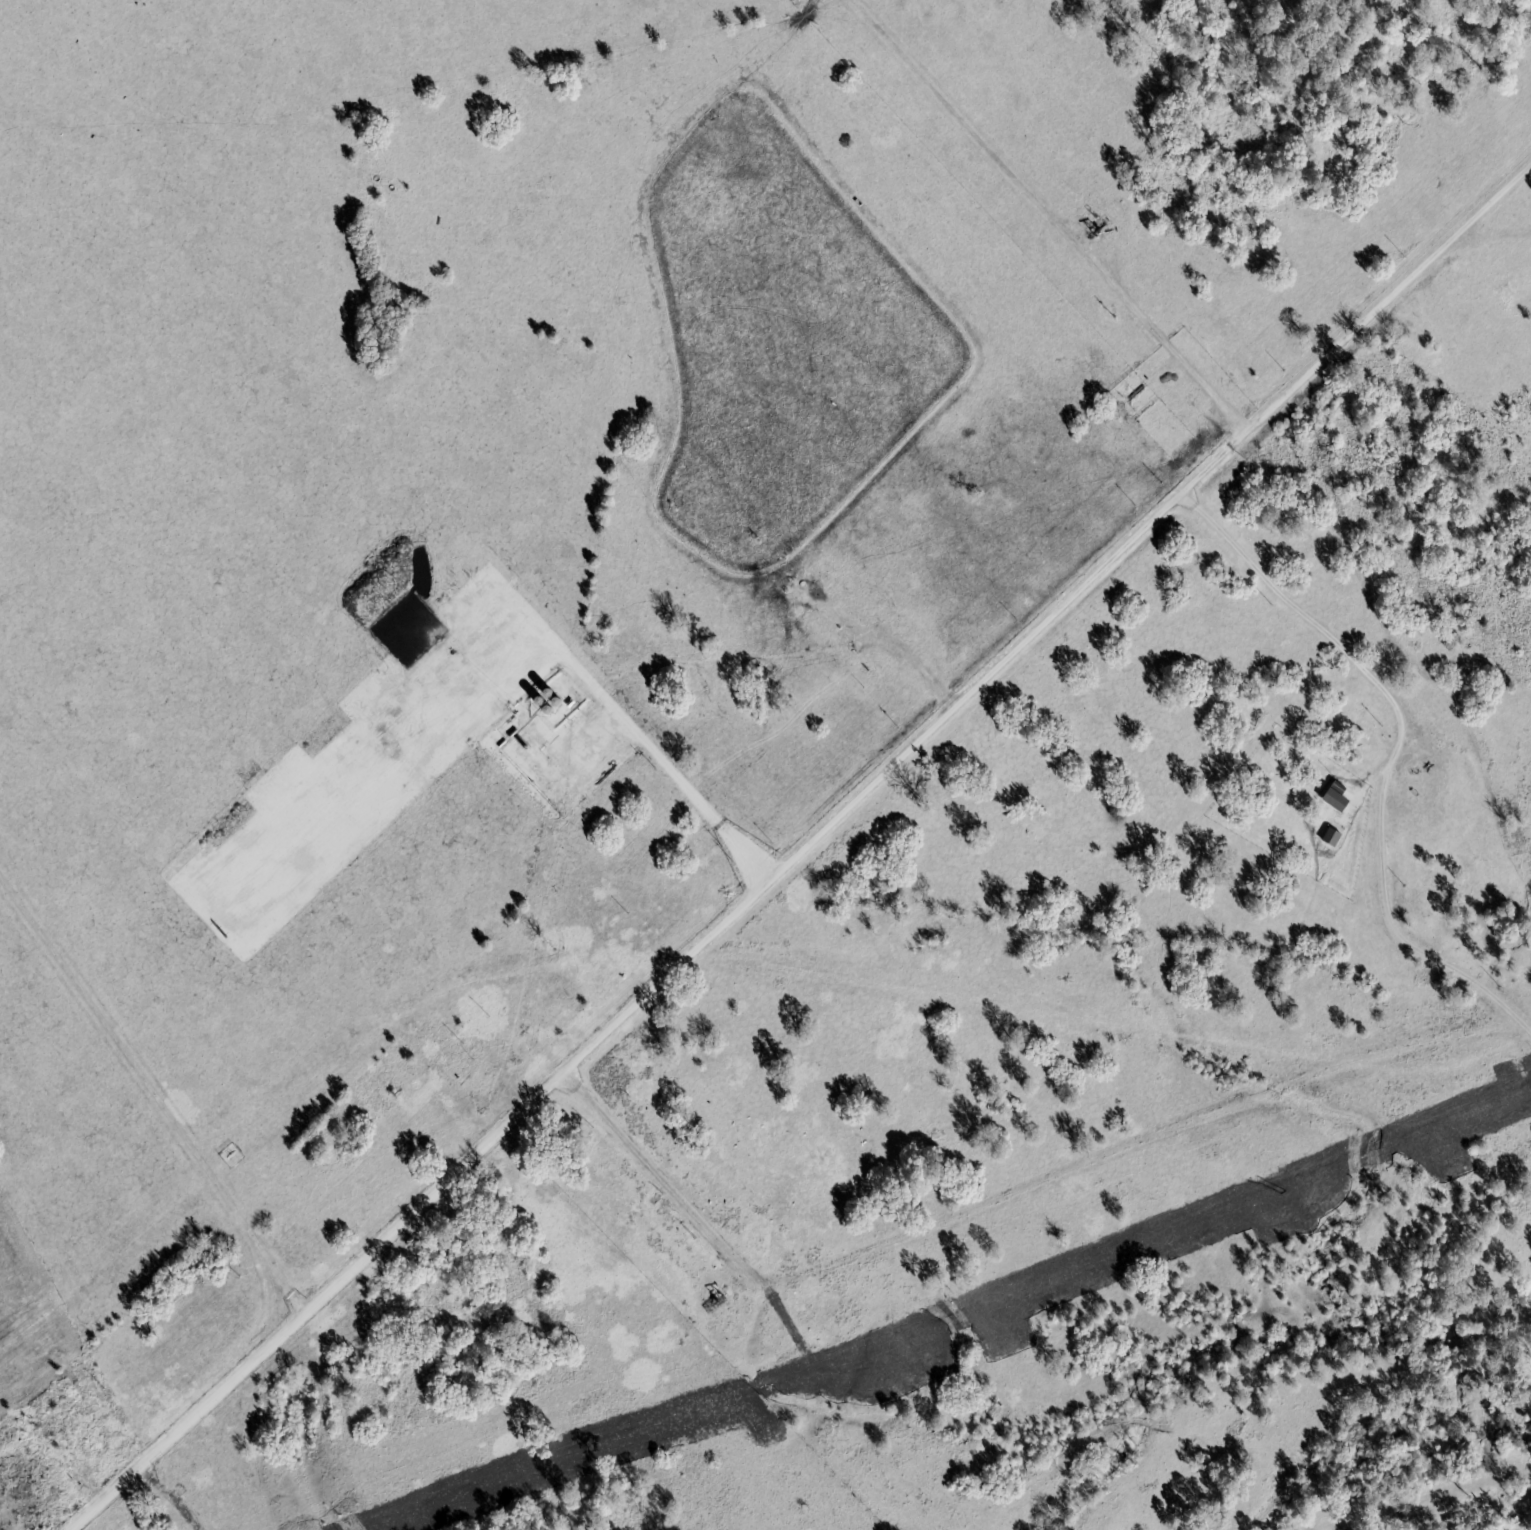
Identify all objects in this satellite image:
road: (1026, 185)
road: (1319, 624)
road: (914, 673)
building: (1340, 797)
building: (1335, 837)
road: (802, 848)
road: (1015, 1191)

